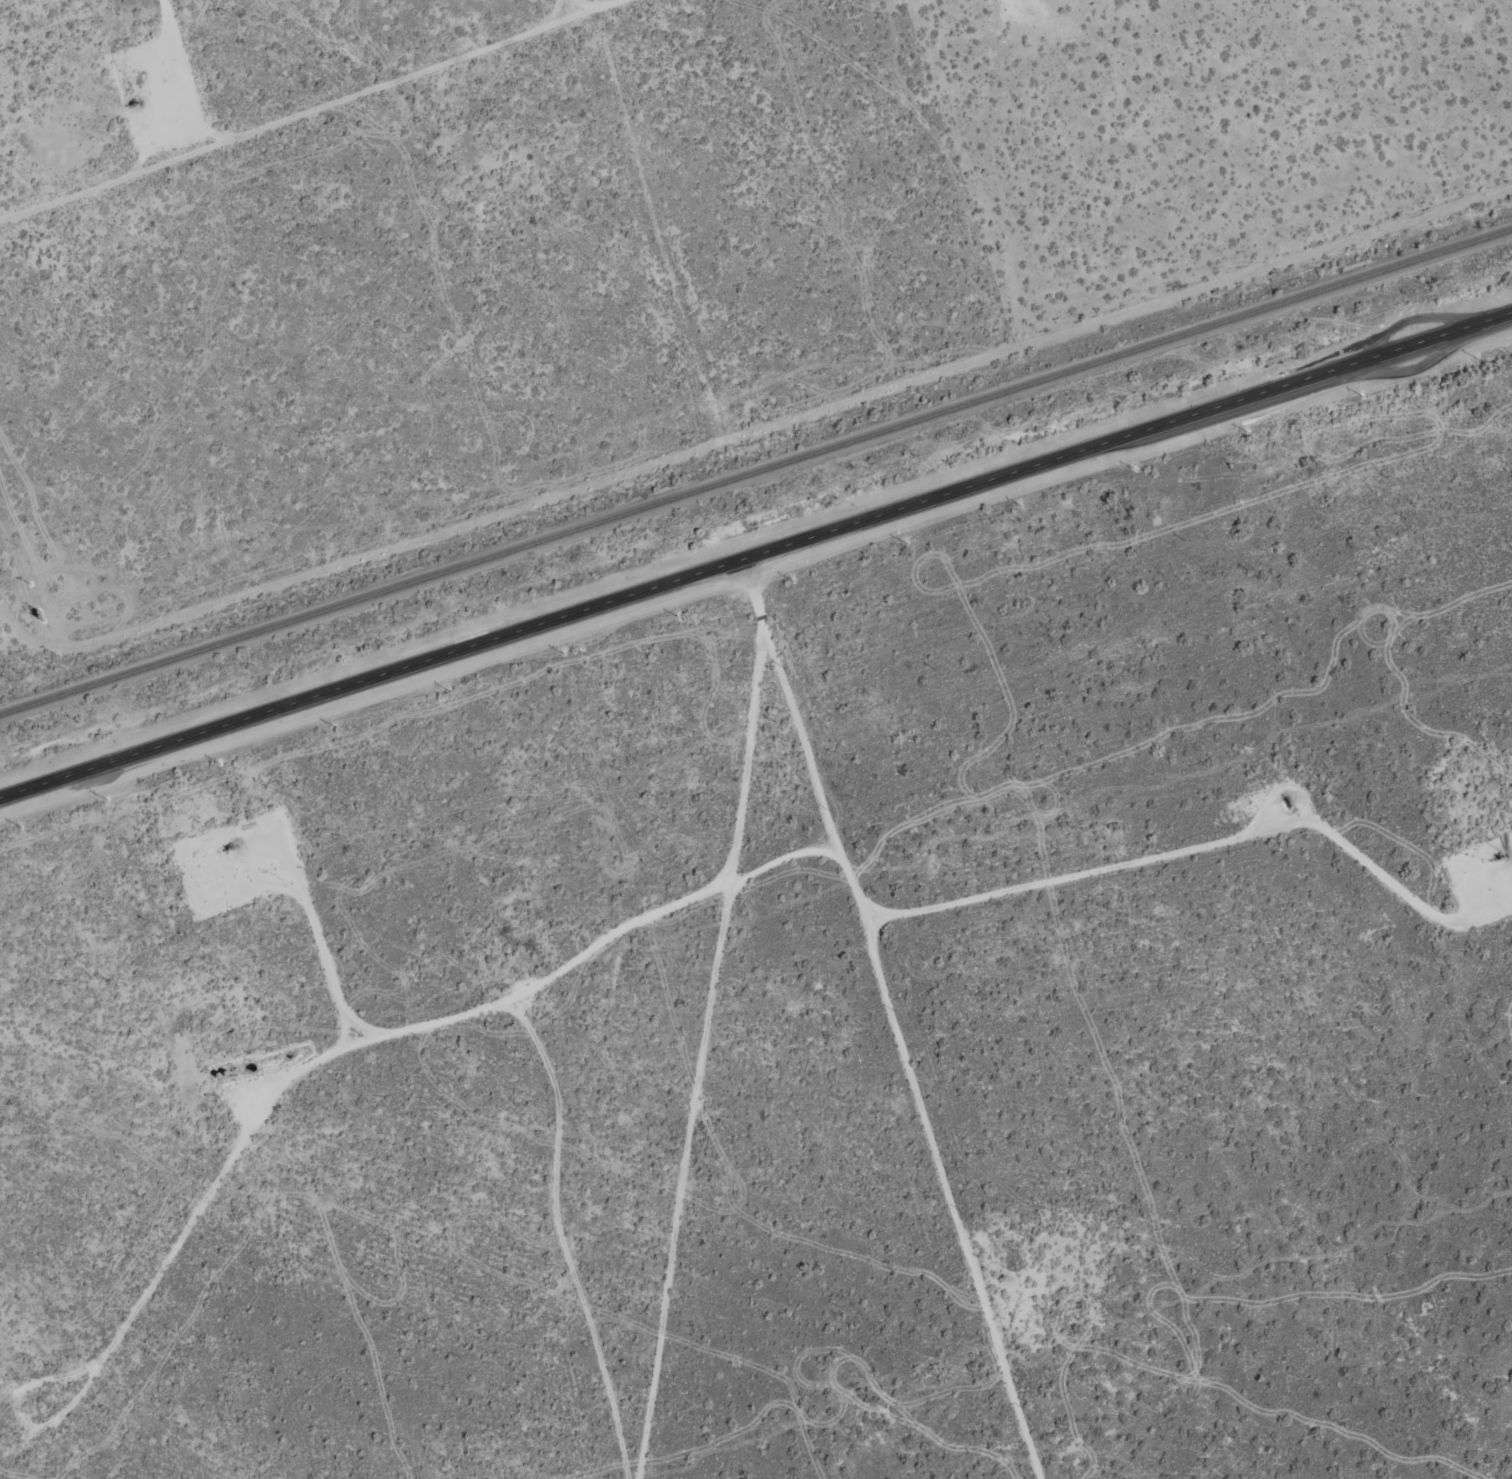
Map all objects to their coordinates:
road: (566, 7)
road: (323, 104)
railway: (755, 472)
road: (756, 555)
road: (1013, 910)
road: (684, 1010)
road: (335, 1065)
road: (852, 1120)

